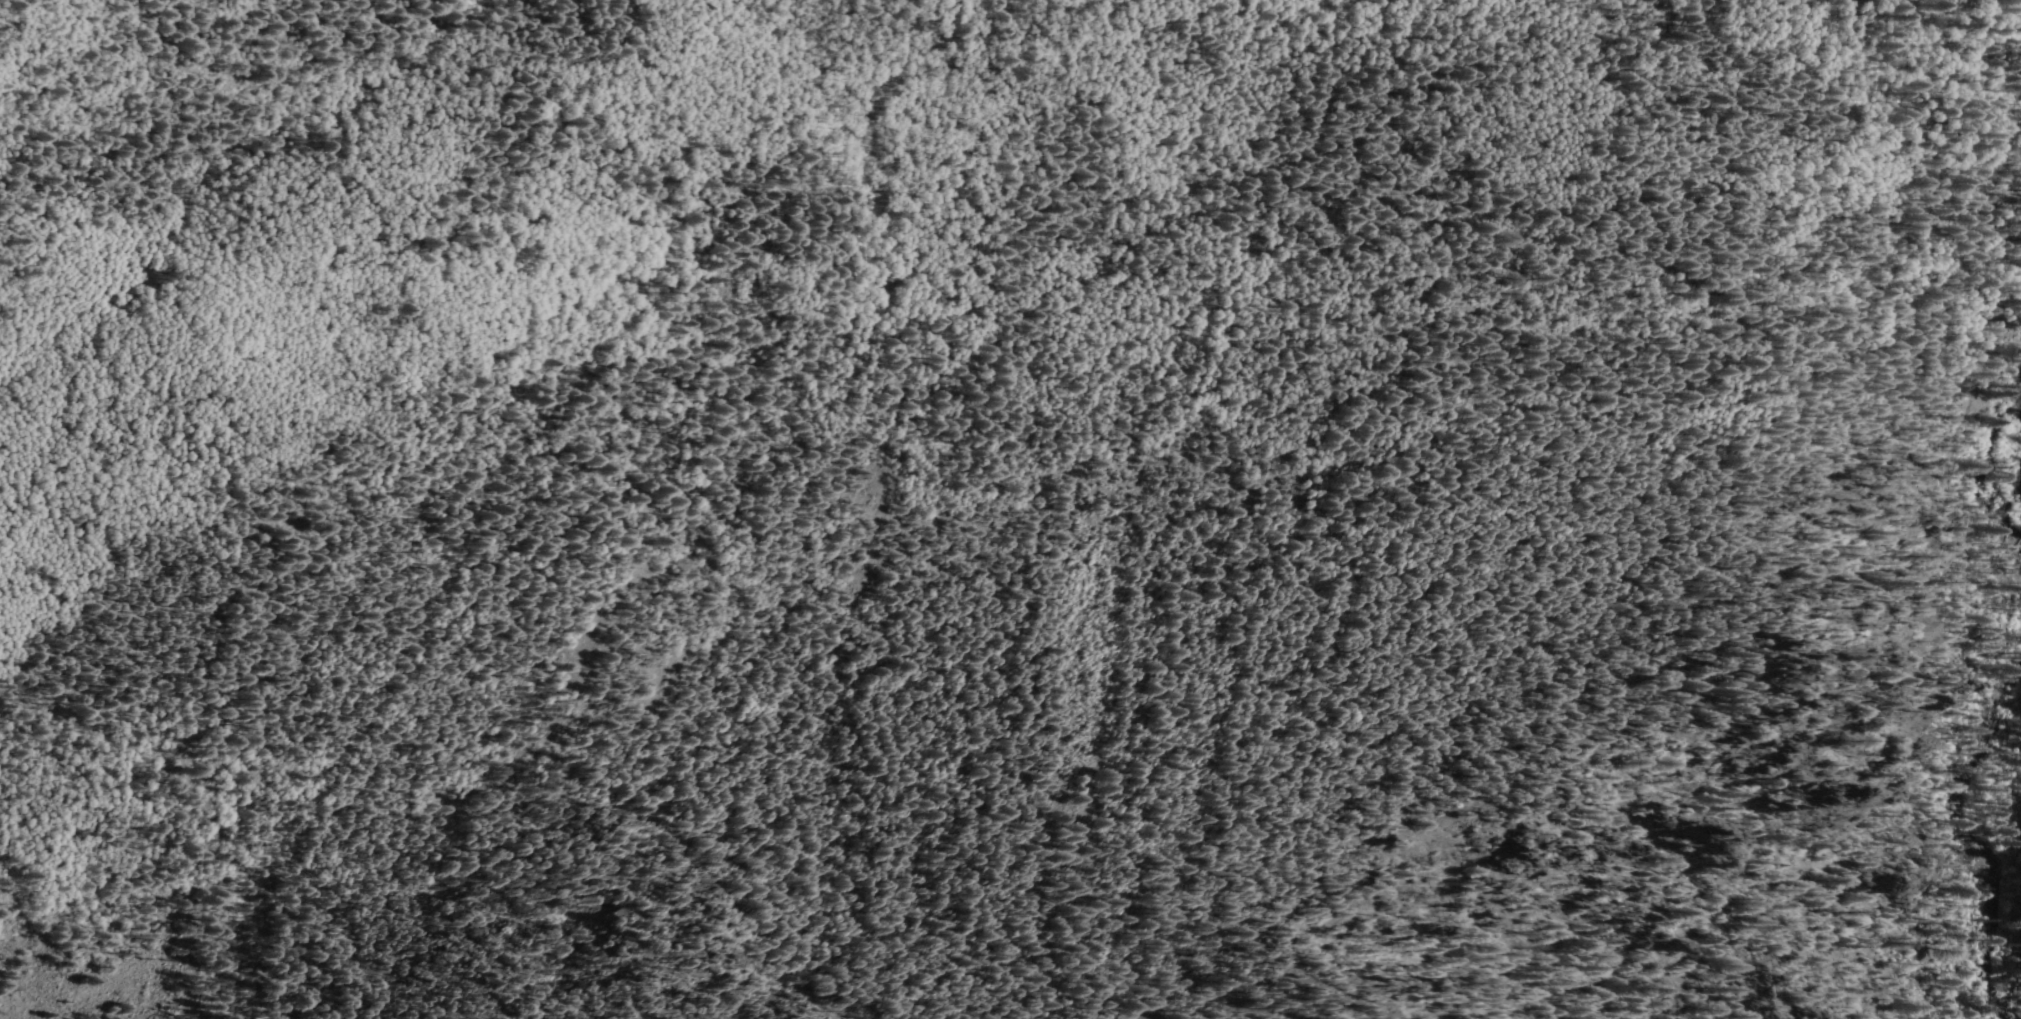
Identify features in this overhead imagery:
road: (2012, 339)
road: (1988, 478)
road: (2007, 804)
road: (1998, 969)

